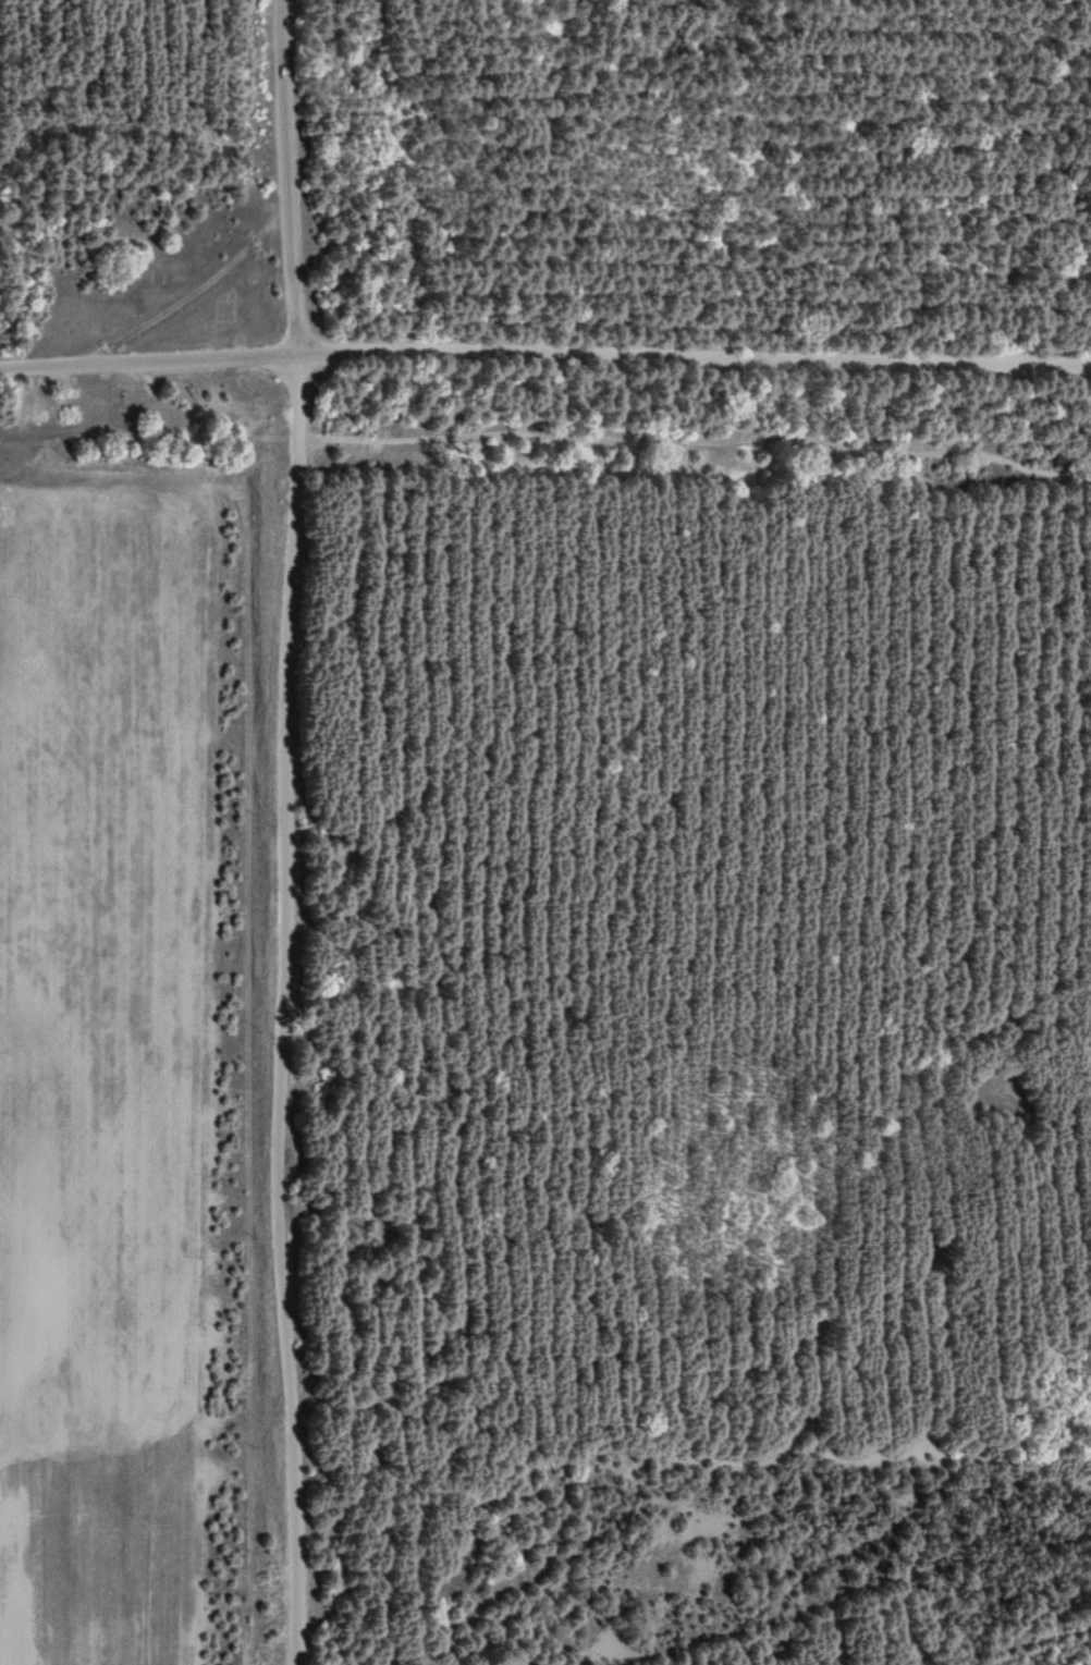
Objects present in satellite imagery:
road: (194, 292)
road: (544, 352)
road: (297, 832)

